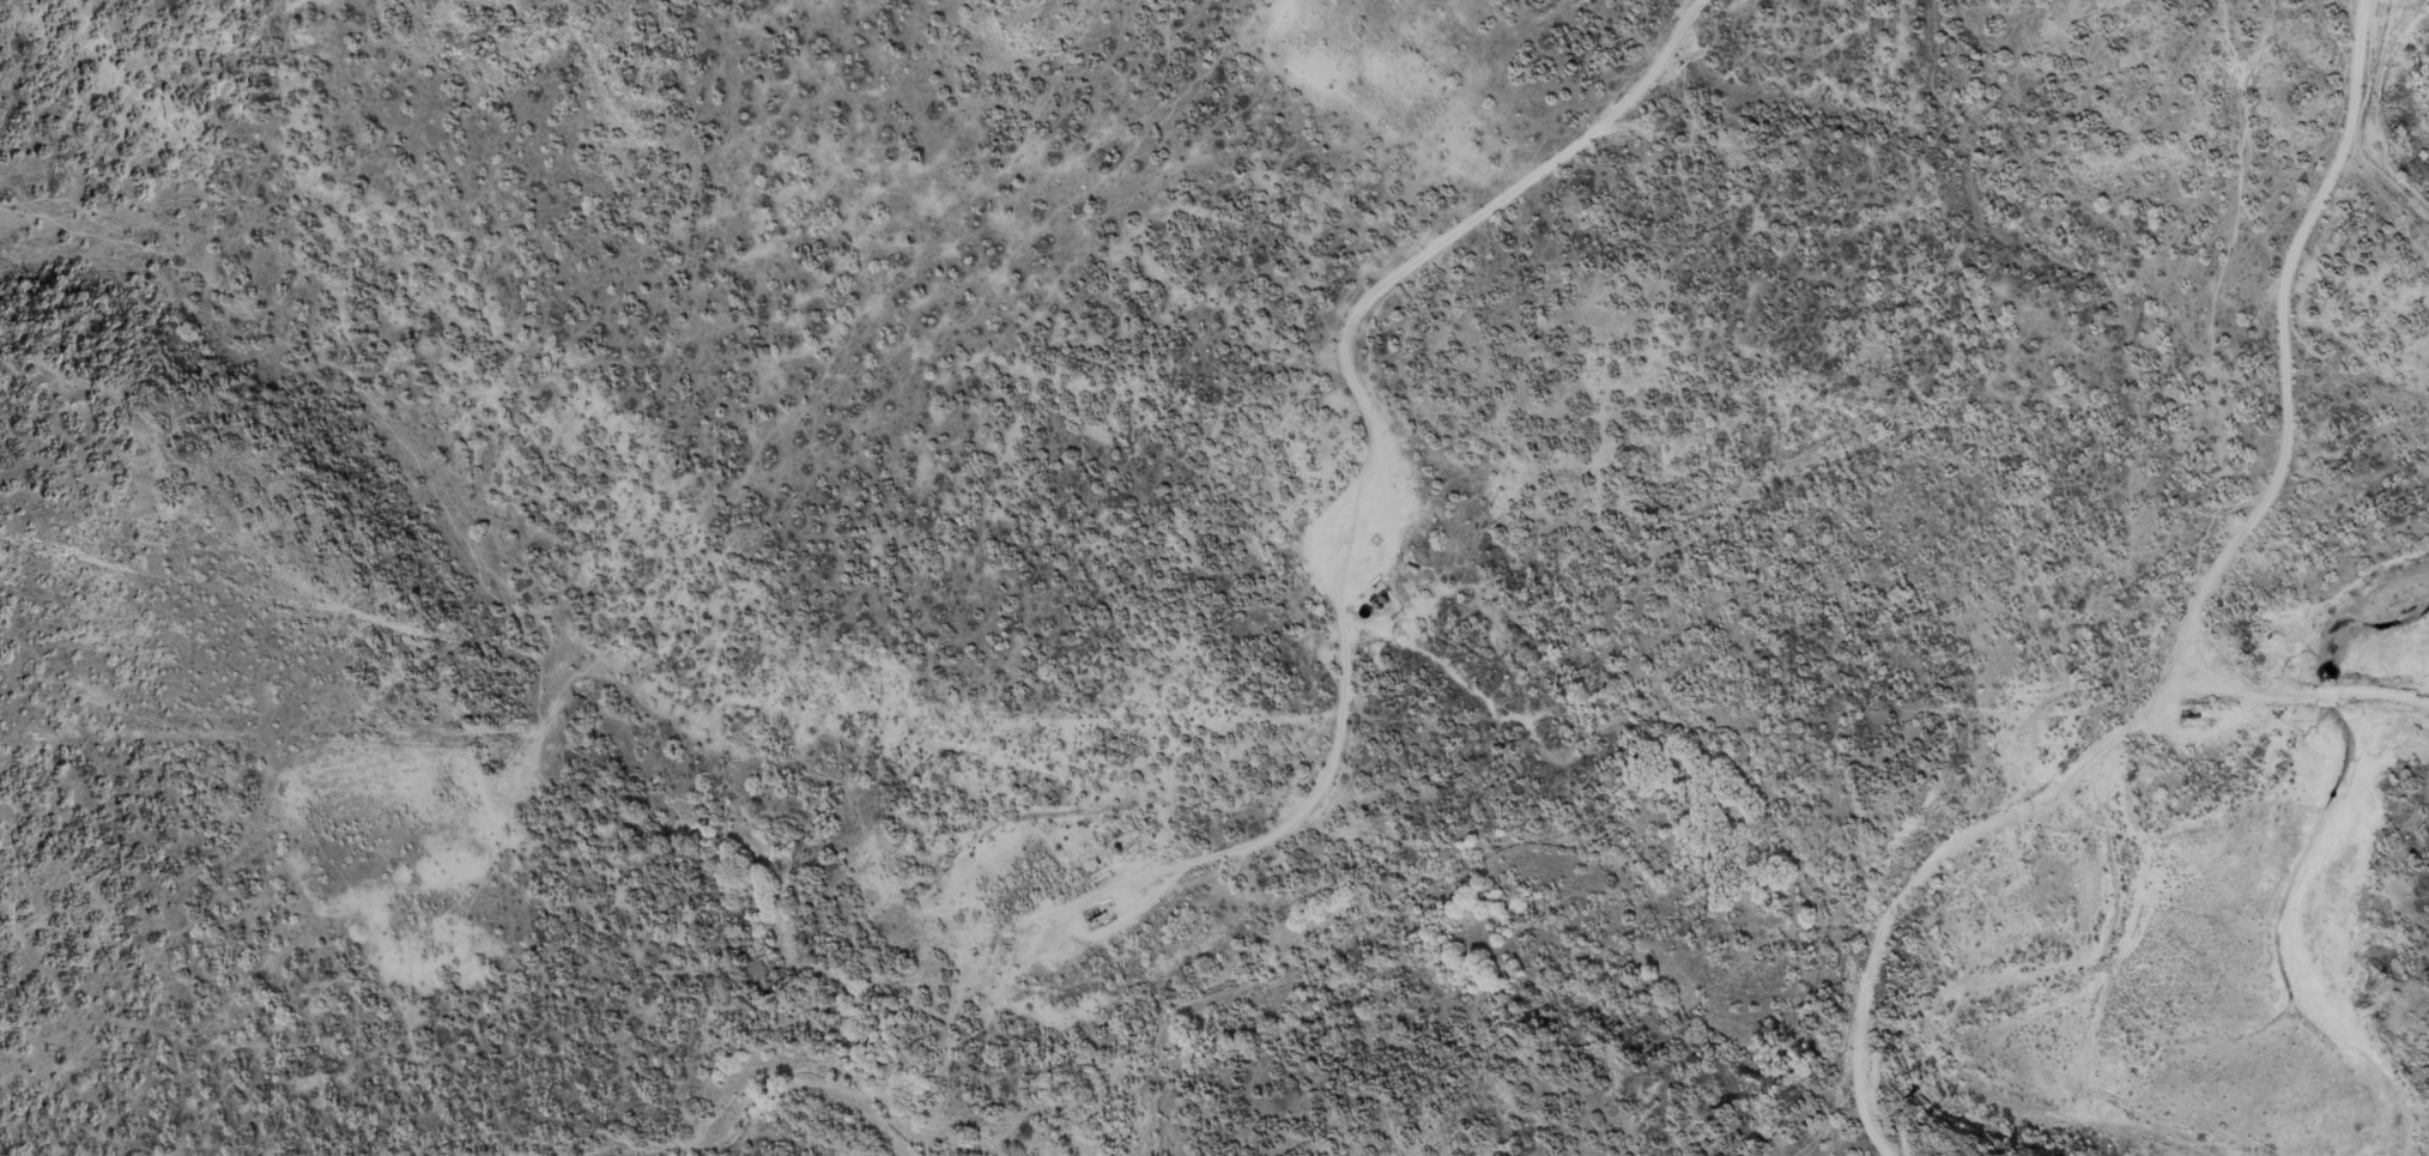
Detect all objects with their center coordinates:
road: (2264, 449)

